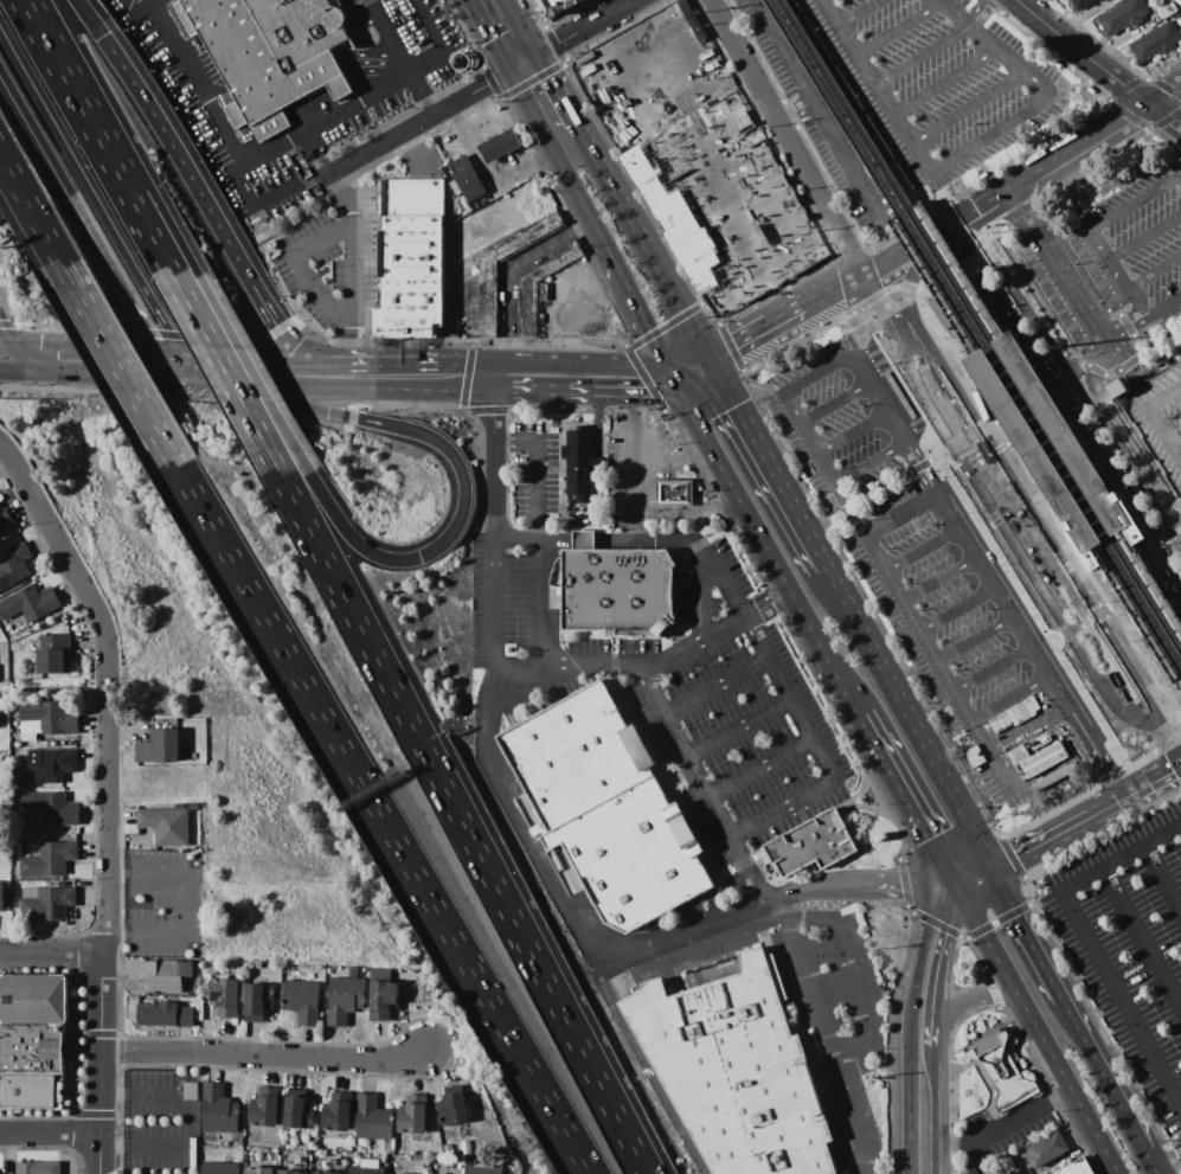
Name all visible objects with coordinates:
building: (1100, 0)
building: (1179, 1)
road: (159, 4)
building: (1081, 4)
road: (137, 7)
building: (554, 7)
building: (1166, 8)
road: (858, 13)
road: (978, 13)
building: (1123, 15)
road: (91, 18)
road: (1044, 18)
road: (524, 27)
road: (591, 27)
road: (900, 30)
road: (490, 36)
road: (392, 37)
building: (1156, 41)
building: (271, 53)
road: (922, 54)
traffic signals: (539, 56)
road: (1091, 57)
road: (118, 60)
road: (525, 63)
traffic signals: (511, 71)
road: (68, 75)
parking lot: (937, 82)
road: (945, 82)
road: (558, 89)
road: (1132, 91)
road: (424, 94)
road: (1166, 95)
road: (370, 96)
road: (969, 108)
road: (794, 111)
road: (815, 111)
parking lot: (821, 113)
road: (1166, 115)
road: (219, 122)
road: (422, 122)
parking lot: (686, 130)
road: (1105, 134)
road: (787, 136)
building: (501, 146)
road: (967, 150)
road: (560, 165)
building: (468, 178)
road: (1036, 179)
building: (455, 187)
road: (90, 193)
building: (682, 203)
road: (30, 206)
road: (140, 211)
road: (81, 213)
road: (159, 213)
road: (1122, 213)
road: (980, 216)
road: (224, 238)
road: (643, 239)
road: (935, 239)
road: (1145, 239)
road: (353, 242)
parking lot: (1136, 245)
road: (884, 261)
building: (412, 262)
road: (994, 263)
road: (307, 267)
road: (333, 267)
road: (511, 270)
road: (1156, 272)
road: (1119, 277)
road: (910, 281)
building: (541, 289)
road: (823, 294)
parking lot: (1057, 300)
building: (487, 301)
road: (877, 301)
road: (1138, 302)
road: (1163, 310)
road: (637, 312)
road: (1090, 320)
railway: (982, 322)
road: (1124, 328)
road: (756, 331)
railway: (975, 333)
road: (7, 335)
road: (1065, 336)
road: (8, 349)
traffic signals: (18, 349)
road: (90, 354)
traffic signals: (711, 357)
traffic signals: (162, 360)
road: (172, 360)
road: (31, 361)
traffic signals: (181, 361)
road: (688, 361)
road: (117, 363)
road: (579, 364)
road: (259, 365)
road: (404, 365)
road: (480, 365)
traffic signals: (666, 366)
road: (692, 368)
road: (168, 372)
road: (223, 372)
road: (187, 373)
road: (669, 373)
road: (816, 373)
road: (21, 374)
traffic signals: (44, 374)
road: (109, 379)
road: (744, 379)
traffic signals: (674, 381)
road: (1076, 383)
traffic signals: (175, 384)
road: (185, 384)
road: (257, 384)
traffic signals: (194, 385)
building: (1121, 387)
road: (342, 389)
road: (925, 391)
road: (501, 392)
road: (593, 392)
road: (877, 398)
road: (834, 403)
road: (1067, 409)
road: (1027, 411)
parking lot: (849, 416)
building: (1160, 417)
parking lot: (1160, 417)
road: (1035, 421)
railway: (1050, 421)
road: (983, 425)
road: (852, 432)
road: (969, 435)
road: (809, 437)
building: (1048, 443)
road: (955, 444)
railway: (1039, 449)
road: (493, 451)
road: (1148, 454)
road: (937, 455)
road: (768, 462)
road: (868, 462)
road: (1129, 466)
road: (918, 467)
road: (919, 468)
road: (462, 469)
building: (580, 469)
road: (984, 485)
road: (1095, 485)
road: (1074, 486)
road: (881, 488)
road: (606, 489)
building: (676, 492)
road: (1034, 505)
road: (845, 508)
road: (846, 509)
road: (900, 514)
building: (5, 520)
road: (821, 521)
road: (54, 528)
road: (1167, 537)
road: (557, 541)
road: (584, 543)
road: (653, 544)
road: (765, 550)
road: (922, 550)
building: (14, 565)
road: (1071, 566)
road: (1040, 575)
road: (939, 578)
building: (617, 588)
building: (30, 605)
road: (957, 609)
road: (746, 615)
road: (1089, 618)
road: (975, 637)
parking lot: (982, 641)
road: (1045, 643)
road: (694, 644)
road: (1031, 646)
building: (54, 654)
road: (938, 661)
road: (541, 667)
road: (993, 667)
road: (715, 687)
road: (1110, 687)
road: (650, 692)
road: (57, 695)
road: (1010, 698)
road: (1155, 705)
building: (51, 717)
parking lot: (731, 717)
road: (910, 718)
road: (1028, 726)
road: (738, 729)
road: (1170, 729)
road: (675, 738)
building: (161, 746)
building: (577, 755)
building: (1045, 758)
building: (46, 765)
road: (1176, 770)
road: (698, 780)
road: (743, 781)
road: (827, 782)
road: (1138, 790)
road: (911, 802)
building: (53, 808)
road: (381, 817)
road: (461, 823)
building: (166, 825)
road: (995, 827)
road: (529, 830)
road: (1050, 839)
building: (814, 845)
building: (631, 857)
building: (51, 859)
traffic signals: (994, 870)
road: (977, 879)
road: (1163, 879)
traffic signals: (962, 888)
building: (1, 896)
road: (795, 896)
road: (110, 897)
building: (47, 903)
road: (178, 903)
road: (1029, 934)
road: (1143, 939)
road: (1090, 944)
road: (54, 954)
parking lot: (1132, 954)
road: (930, 964)
road: (843, 969)
building: (166, 974)
building: (617, 981)
building: (383, 995)
building: (346, 996)
building: (225, 997)
building: (34, 999)
building: (302, 999)
building: (258, 1001)
road: (964, 1006)
building: (165, 1014)
parking lot: (840, 1028)
road: (1040, 1031)
road: (826, 1044)
building: (34, 1050)
road: (267, 1057)
building: (1002, 1070)
building: (737, 1071)
road: (1106, 1073)
building: (191, 1091)
building: (31, 1092)
building: (454, 1108)
building: (265, 1109)
building: (219, 1111)
road: (920, 1111)
building: (338, 1112)
building: (297, 1115)
building: (413, 1115)
building: (374, 1121)
road: (188, 1123)
road: (995, 1123)
road: (52, 1135)
building: (449, 1149)
building: (1048, 1149)
building: (192, 1151)
building: (467, 1151)
building: (500, 1154)
road: (1154, 1161)
building: (302, 1162)
road: (1170, 1163)
building: (39, 1167)
building: (220, 1167)
building: (1078, 1167)
building: (367, 1169)
building: (483, 1169)
building: (259, 1170)
building: (293, 1172)
building: (327, 1172)

